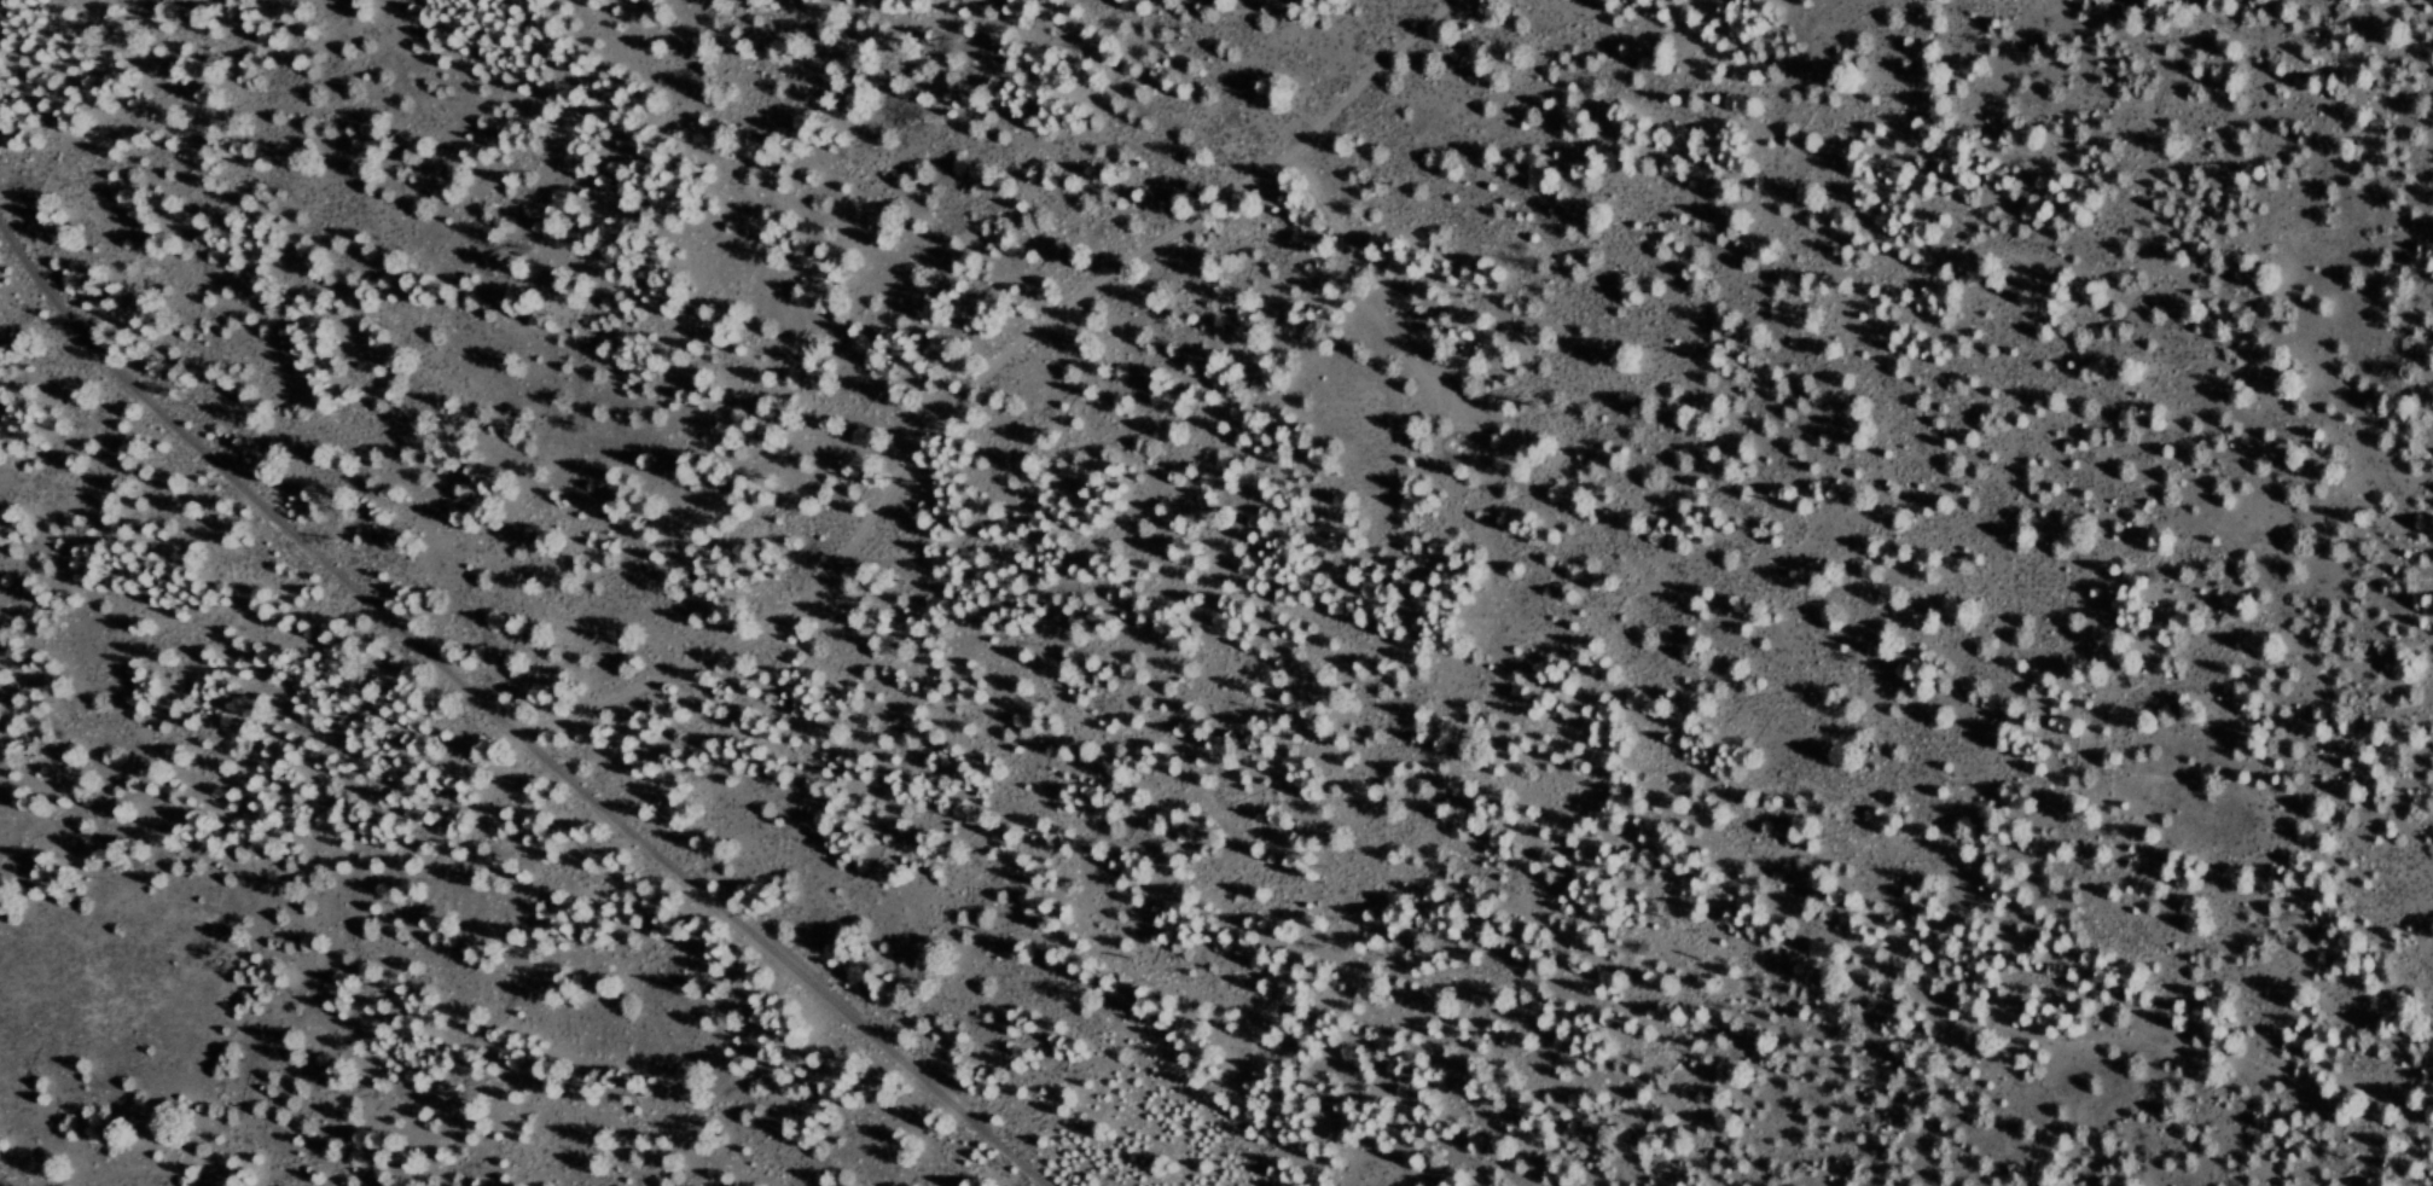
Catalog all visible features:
road: (982, 377)
road: (506, 722)

